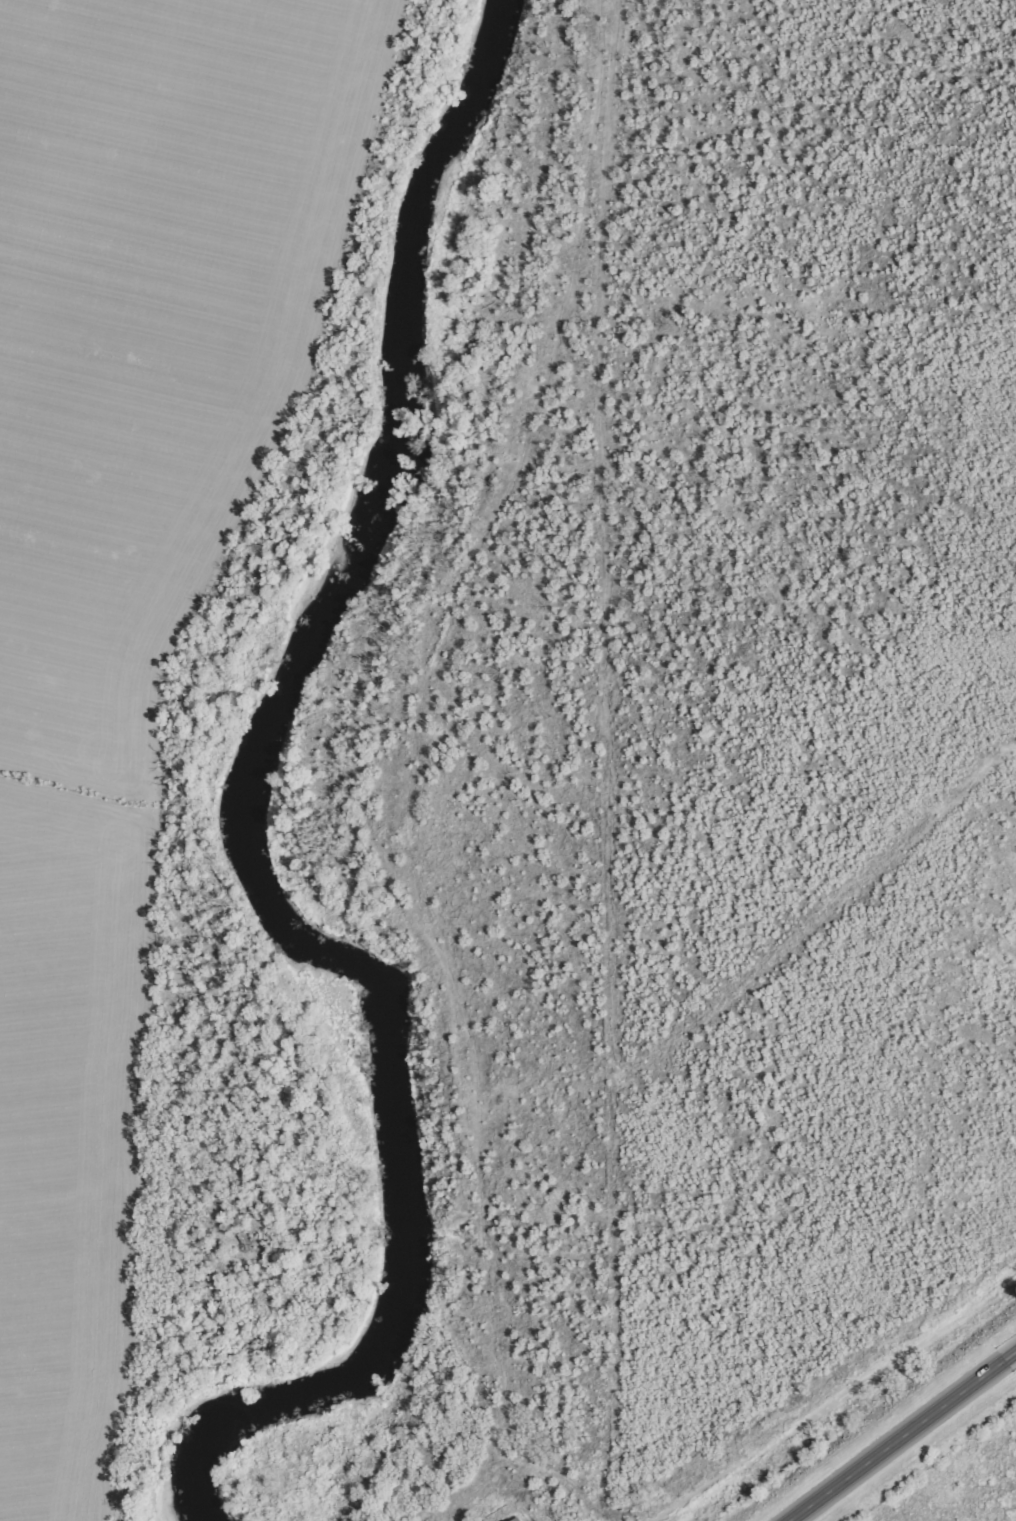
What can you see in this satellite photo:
river: (277, 806)
road: (912, 1442)
building: (515, 1519)

